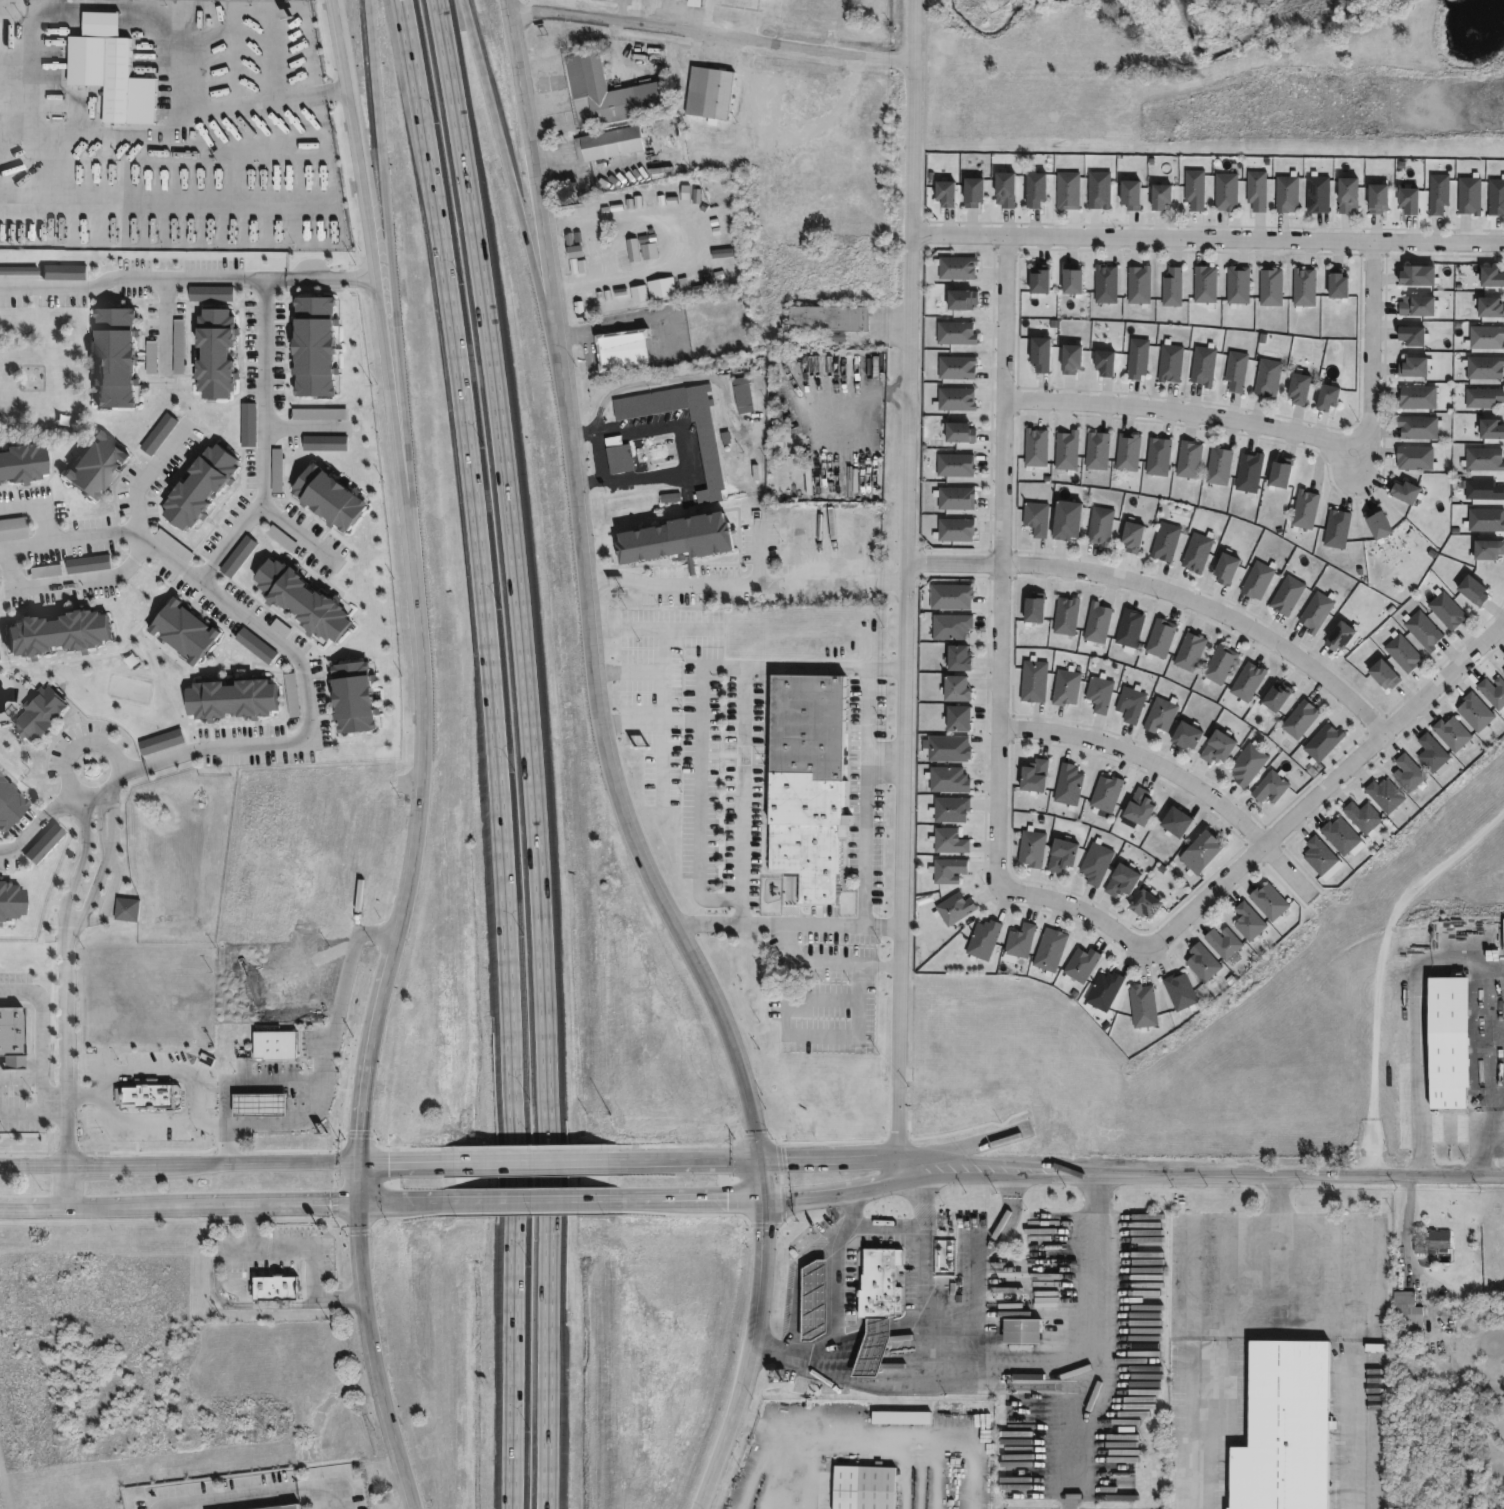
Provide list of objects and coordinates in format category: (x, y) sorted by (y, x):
road: (710, 38)
building: (105, 63)
building: (610, 93)
building: (714, 93)
road: (166, 108)
road: (500, 139)
building: (611, 144)
building: (1002, 188)
building: (1031, 188)
building: (1193, 189)
building: (1066, 190)
building: (1097, 190)
building: (1255, 190)
building: (970, 191)
building: (1225, 191)
building: (941, 192)
building: (1286, 193)
building: (1317, 193)
building: (1438, 193)
building: (1127, 194)
building: (1345, 194)
building: (1469, 195)
building: (1158, 196)
building: (1496, 196)
building: (1376, 197)
building: (1406, 200)
road: (1208, 236)
road: (388, 239)
road: (671, 239)
building: (597, 254)
building: (961, 267)
road: (356, 272)
building: (1416, 276)
road: (130, 277)
road: (273, 277)
building: (1490, 277)
road: (312, 278)
building: (1036, 281)
building: (1068, 281)
road: (359, 282)
building: (1105, 284)
building: (1204, 285)
building: (1138, 286)
building: (1237, 286)
building: (1335, 286)
building: (1171, 287)
building: (1269, 287)
building: (1303, 288)
building: (615, 298)
building: (968, 300)
building: (1416, 306)
building: (1488, 307)
building: (45, 309)
road: (629, 309)
building: (834, 318)
road: (163, 324)
building: (961, 333)
building: (1411, 335)
building: (1485, 338)
building: (315, 342)
building: (218, 349)
building: (627, 349)
building: (115, 353)
building: (1037, 353)
building: (1068, 358)
building: (1136, 358)
building: (1101, 362)
building: (1169, 362)
building: (1203, 365)
building: (1412, 367)
building: (962, 368)
building: (1483, 368)
building: (1236, 371)
building: (1267, 378)
building: (1296, 388)
building: (746, 395)
building: (1325, 397)
building: (1416, 397)
building: (1483, 398)
building: (961, 399)
road: (855, 404)
building: (50, 426)
road: (1285, 426)
road: (301, 427)
building: (1418, 427)
building: (1489, 430)
building: (961, 433)
road: (261, 439)
road: (693, 445)
building: (1037, 448)
building: (1068, 451)
building: (1099, 451)
building: (667, 453)
building: (1129, 453)
building: (621, 455)
building: (714, 455)
building: (1160, 457)
building: (1415, 458)
building: (1190, 460)
building: (1482, 460)
building: (22, 461)
building: (93, 463)
building: (957, 465)
building: (1220, 466)
building: (1251, 473)
building: (1277, 475)
building: (199, 483)
building: (1482, 490)
building: (330, 493)
building: (1404, 493)
building: (958, 499)
road: (39, 504)
building: (1304, 509)
building: (1038, 518)
building: (1484, 520)
building: (1068, 521)
building: (1377, 526)
building: (1102, 527)
building: (957, 530)
building: (1336, 530)
road: (106, 533)
road: (295, 537)
building: (1134, 537)
building: (682, 541)
building: (1167, 542)
building: (1486, 550)
building: (1199, 553)
road: (1006, 559)
road: (476, 564)
road: (125, 566)
building: (1228, 570)
building: (1256, 581)
road: (1169, 586)
road: (743, 589)
building: (1471, 591)
road: (906, 592)
building: (302, 596)
building: (952, 596)
building: (1286, 596)
building: (1034, 610)
building: (1446, 611)
building: (1315, 613)
building: (1067, 616)
road: (253, 622)
building: (1098, 623)
building: (951, 627)
building: (1131, 628)
building: (186, 629)
building: (56, 631)
building: (1423, 631)
building: (1337, 637)
building: (1162, 638)
building: (1189, 652)
building: (1402, 653)
building: (0, 656)
building: (959, 659)
building: (1218, 665)
building: (1502, 672)
building: (1382, 676)
building: (1034, 682)
building: (1246, 683)
building: (1066, 687)
building: (957, 689)
building: (1100, 693)
building: (1492, 693)
road: (307, 694)
building: (354, 695)
building: (233, 696)
building: (1275, 698)
building: (1132, 704)
building: (39, 710)
road: (742, 712)
building: (1474, 712)
building: (1159, 716)
building: (957, 717)
building: (1300, 720)
road: (868, 730)
building: (1451, 732)
building: (1183, 737)
building: (1322, 743)
road: (77, 746)
road: (231, 746)
building: (947, 748)
building: (1215, 748)
road: (529, 751)
building: (1430, 753)
road: (423, 756)
building: (1247, 765)
road: (608, 770)
road: (1181, 771)
building: (1407, 772)
building: (1031, 774)
building: (947, 779)
road: (699, 781)
building: (815, 782)
building: (1067, 784)
building: (1269, 788)
building: (1105, 793)
building: (1384, 794)
road: (99, 795)
building: (9, 803)
building: (1136, 806)
building: (950, 809)
building: (1363, 817)
building: (1173, 821)
building: (1339, 835)
road: (26, 836)
road: (1272, 838)
building: (948, 840)
road: (861, 841)
building: (42, 843)
building: (1031, 847)
building: (1197, 851)
building: (1059, 853)
building: (1318, 855)
building: (1095, 862)
building: (946, 869)
road: (76, 872)
road: (99, 872)
building: (1120, 879)
road: (108, 898)
building: (10, 899)
building: (1267, 901)
building: (1142, 902)
building: (131, 908)
building: (953, 908)
building: (1247, 921)
road: (786, 923)
building: (1502, 932)
building: (984, 940)
building: (1018, 941)
building: (1223, 943)
road: (1430, 949)
building: (1048, 950)
building: (1202, 962)
road: (827, 963)
building: (1079, 964)
building: (1102, 991)
building: (1179, 991)
building: (1142, 1006)
building: (10, 1029)
building: (1448, 1040)
building: (275, 1044)
road: (41, 1052)
road: (328, 1065)
road: (143, 1069)
road: (21, 1076)
road: (67, 1078)
road: (258, 1086)
building: (146, 1094)
building: (259, 1103)
road: (224, 1111)
road: (28, 1112)
road: (153, 1122)
road: (207, 1124)
road: (1488, 1140)
road: (857, 1152)
traffic signals: (758, 1156)
traffic signals: (359, 1158)
road: (537, 1158)
road: (230, 1163)
road: (510, 1173)
road: (1301, 1173)
road: (858, 1190)
road: (536, 1199)
traffic signals: (763, 1201)
road: (369, 1202)
traffic signals: (358, 1203)
road: (140, 1208)
road: (1411, 1212)
road: (887, 1225)
road: (1278, 1226)
building: (1431, 1242)
road: (310, 1246)
road: (798, 1273)
road: (1272, 1279)
building: (876, 1283)
road: (969, 1283)
building: (275, 1286)
building: (813, 1299)
gas station: (813, 1299)
road: (833, 1302)
road: (222, 1303)
building: (1407, 1309)
building: (1018, 1332)
building: (873, 1347)
gas station: (873, 1347)
road: (509, 1360)
road: (1048, 1383)
building: (907, 1418)
road: (1075, 1423)
building: (1284, 1428)
road: (793, 1448)
building: (863, 1487)
road: (258, 1494)
building: (280, 1507)

